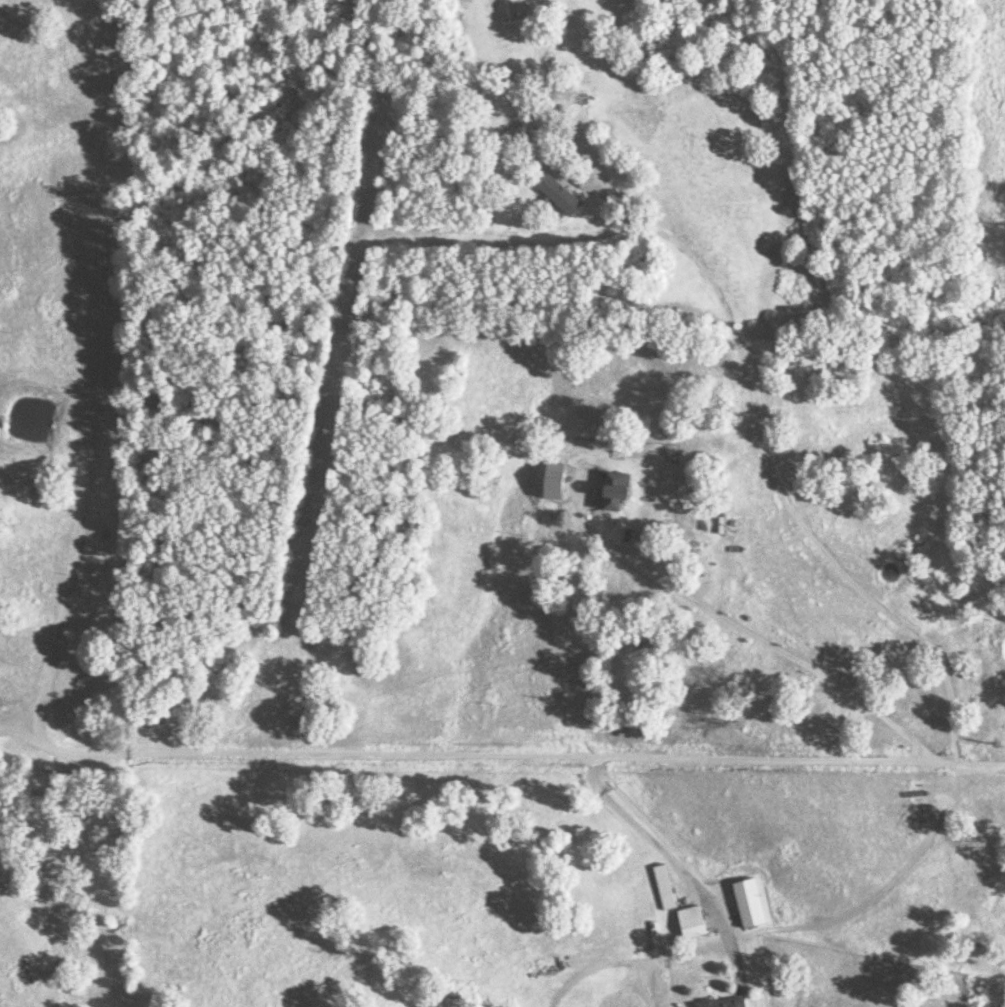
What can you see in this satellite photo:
building: (563, 49)
building: (555, 194)
road: (763, 457)
building: (609, 492)
road: (744, 631)
road: (537, 756)
road: (676, 865)
building: (662, 888)
building: (746, 904)
building: (688, 924)
building: (720, 1003)

